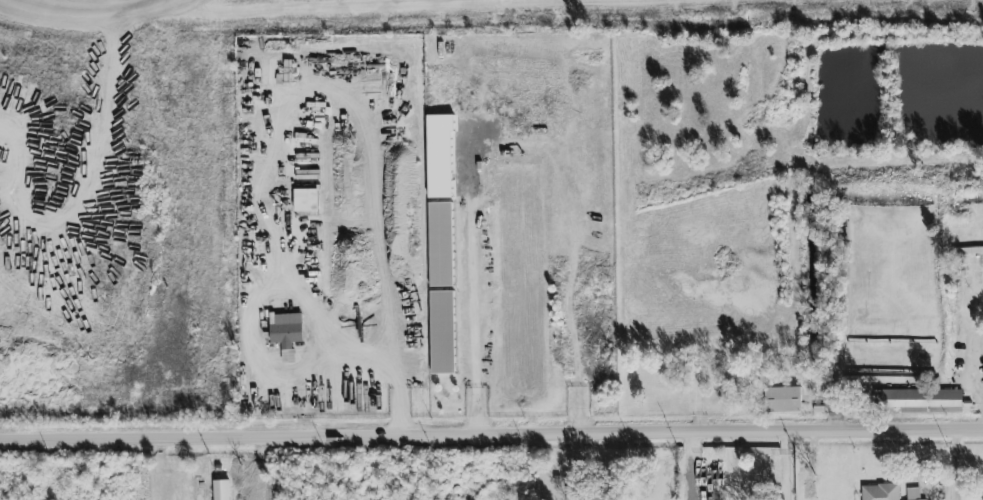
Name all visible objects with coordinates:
landfill: (427, 11)
road: (280, 130)
road: (522, 138)
building: (439, 157)
building: (306, 200)
building: (440, 245)
building: (286, 330)
building: (442, 333)
building: (783, 400)
building: (920, 401)
road: (491, 431)
road: (955, 463)
road: (12, 469)
building: (221, 490)
building: (880, 492)
building: (912, 494)

